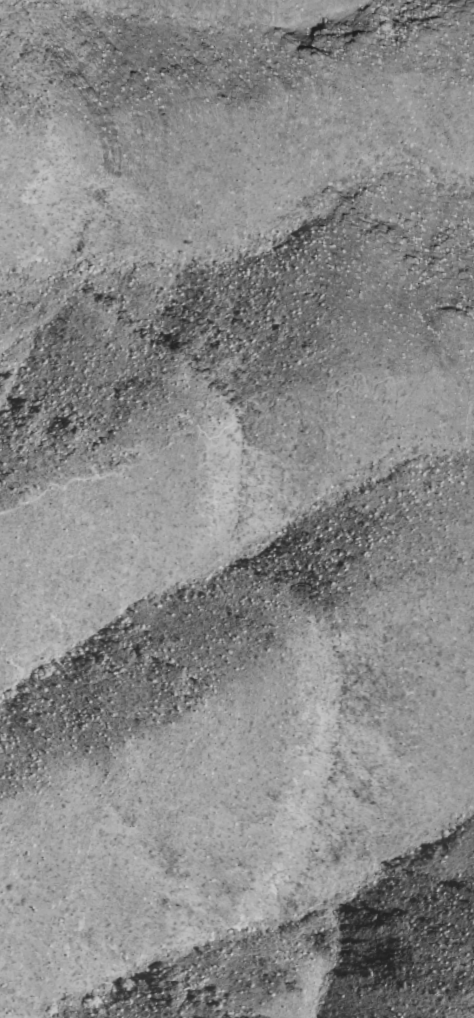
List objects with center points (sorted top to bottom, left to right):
road: (251, 401)
road: (473, 403)

